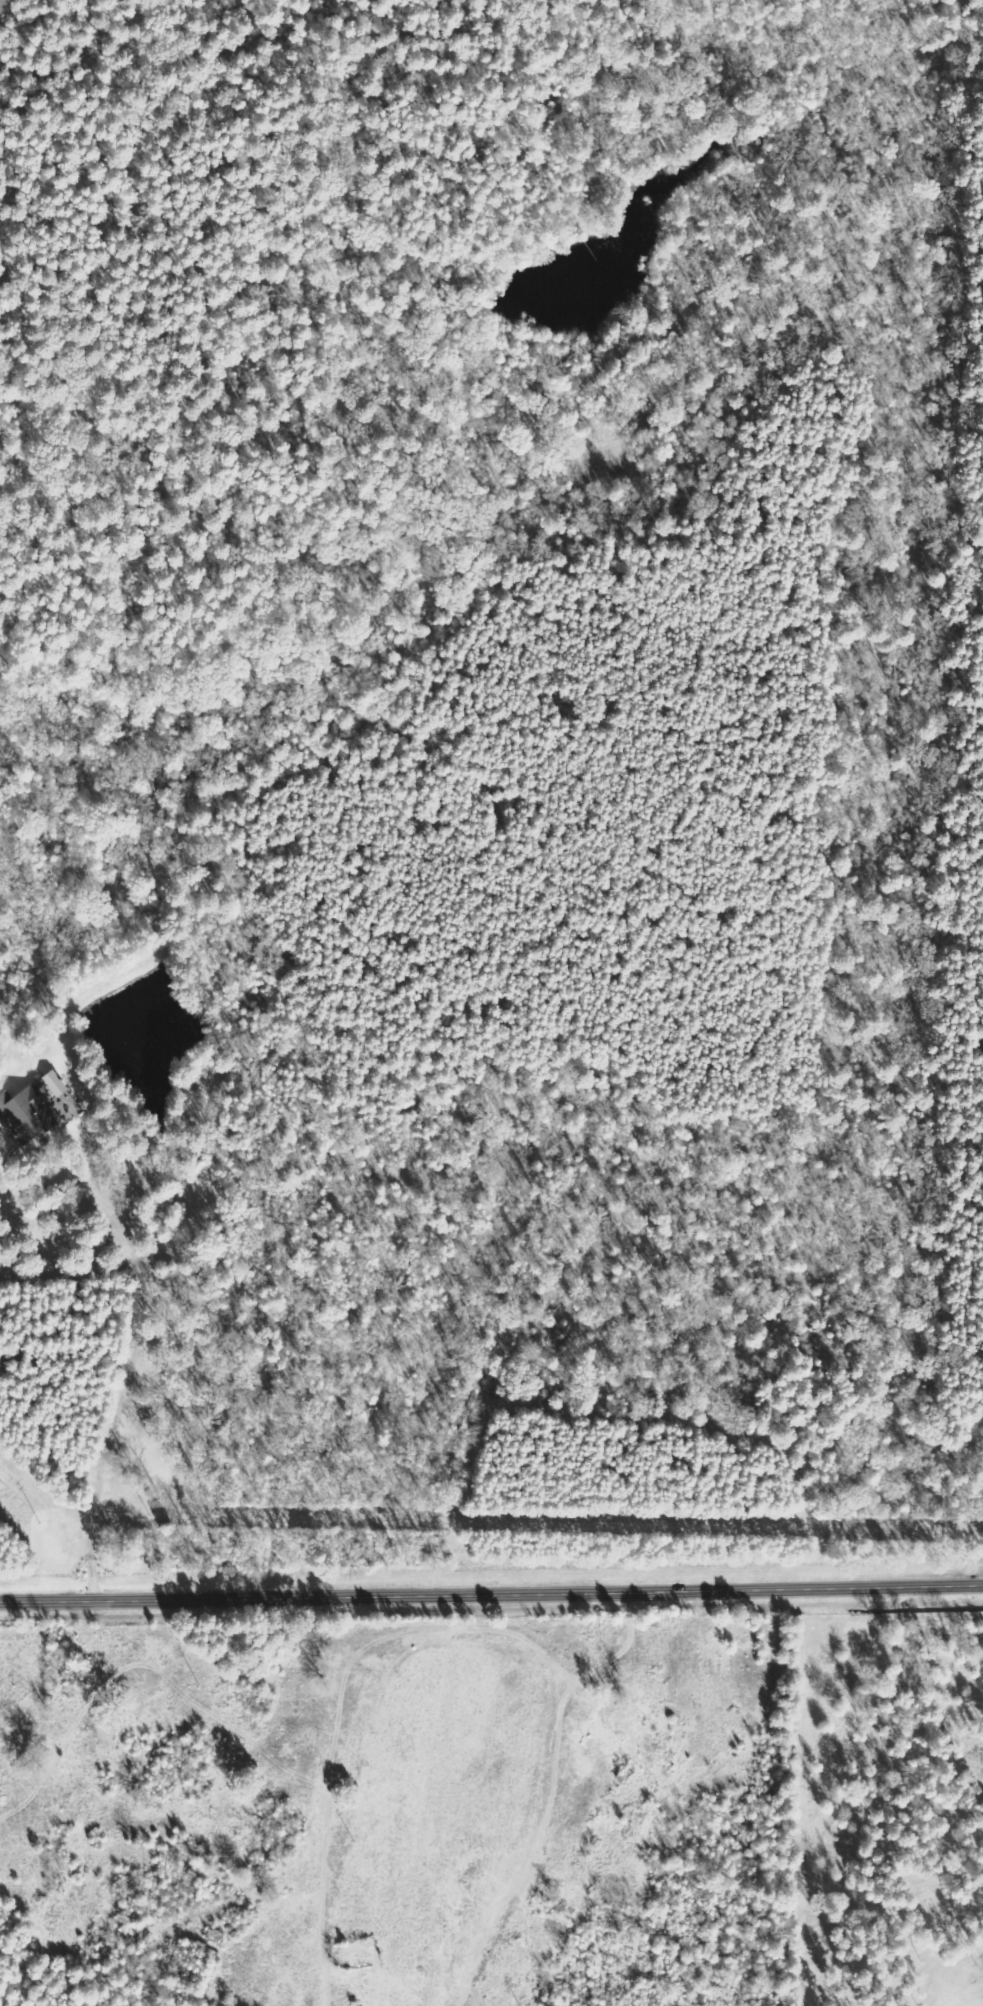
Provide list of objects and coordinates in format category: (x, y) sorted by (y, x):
building: (60, 1097)
building: (25, 1115)
road: (132, 1372)
road: (491, 1596)

